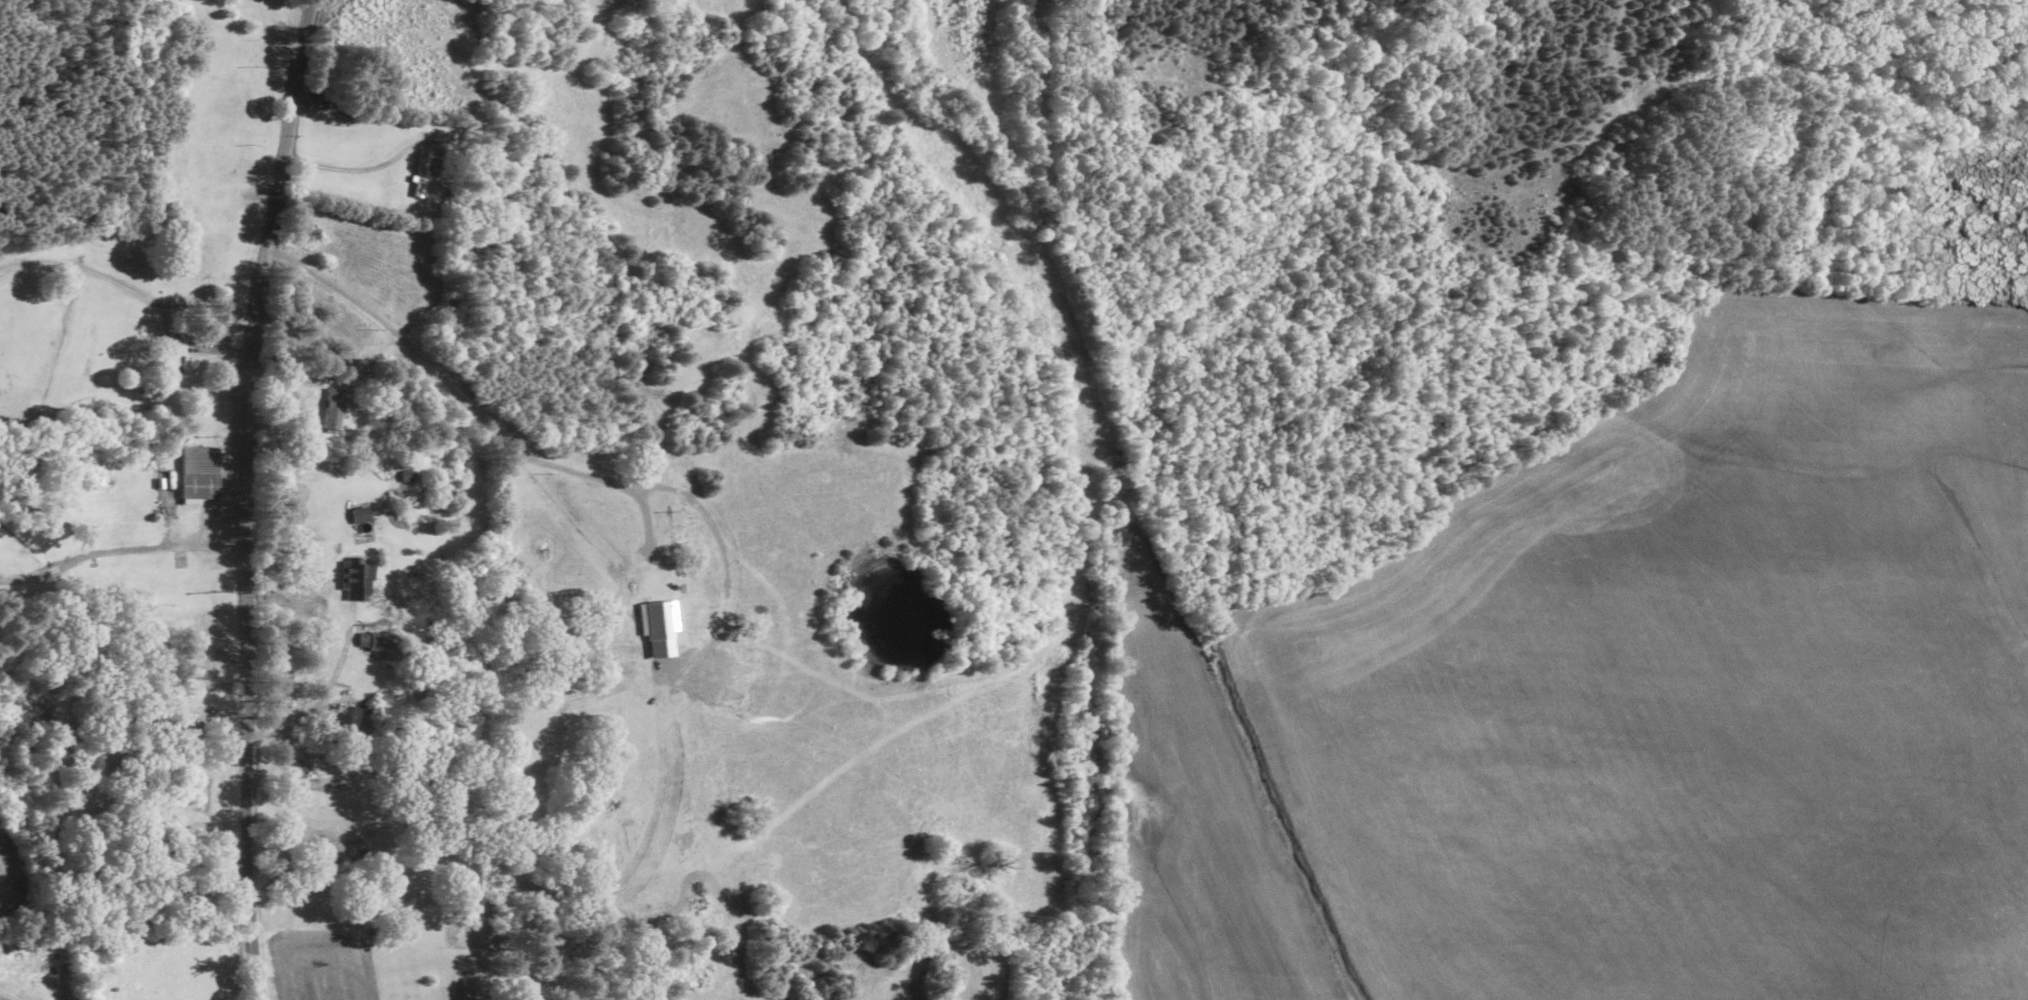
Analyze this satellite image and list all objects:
road: (272, 27)
building: (429, 170)
road: (125, 287)
building: (334, 409)
building: (199, 472)
building: (406, 473)
road: (243, 495)
building: (360, 514)
building: (357, 581)
building: (198, 631)
building: (382, 642)
building: (188, 741)

